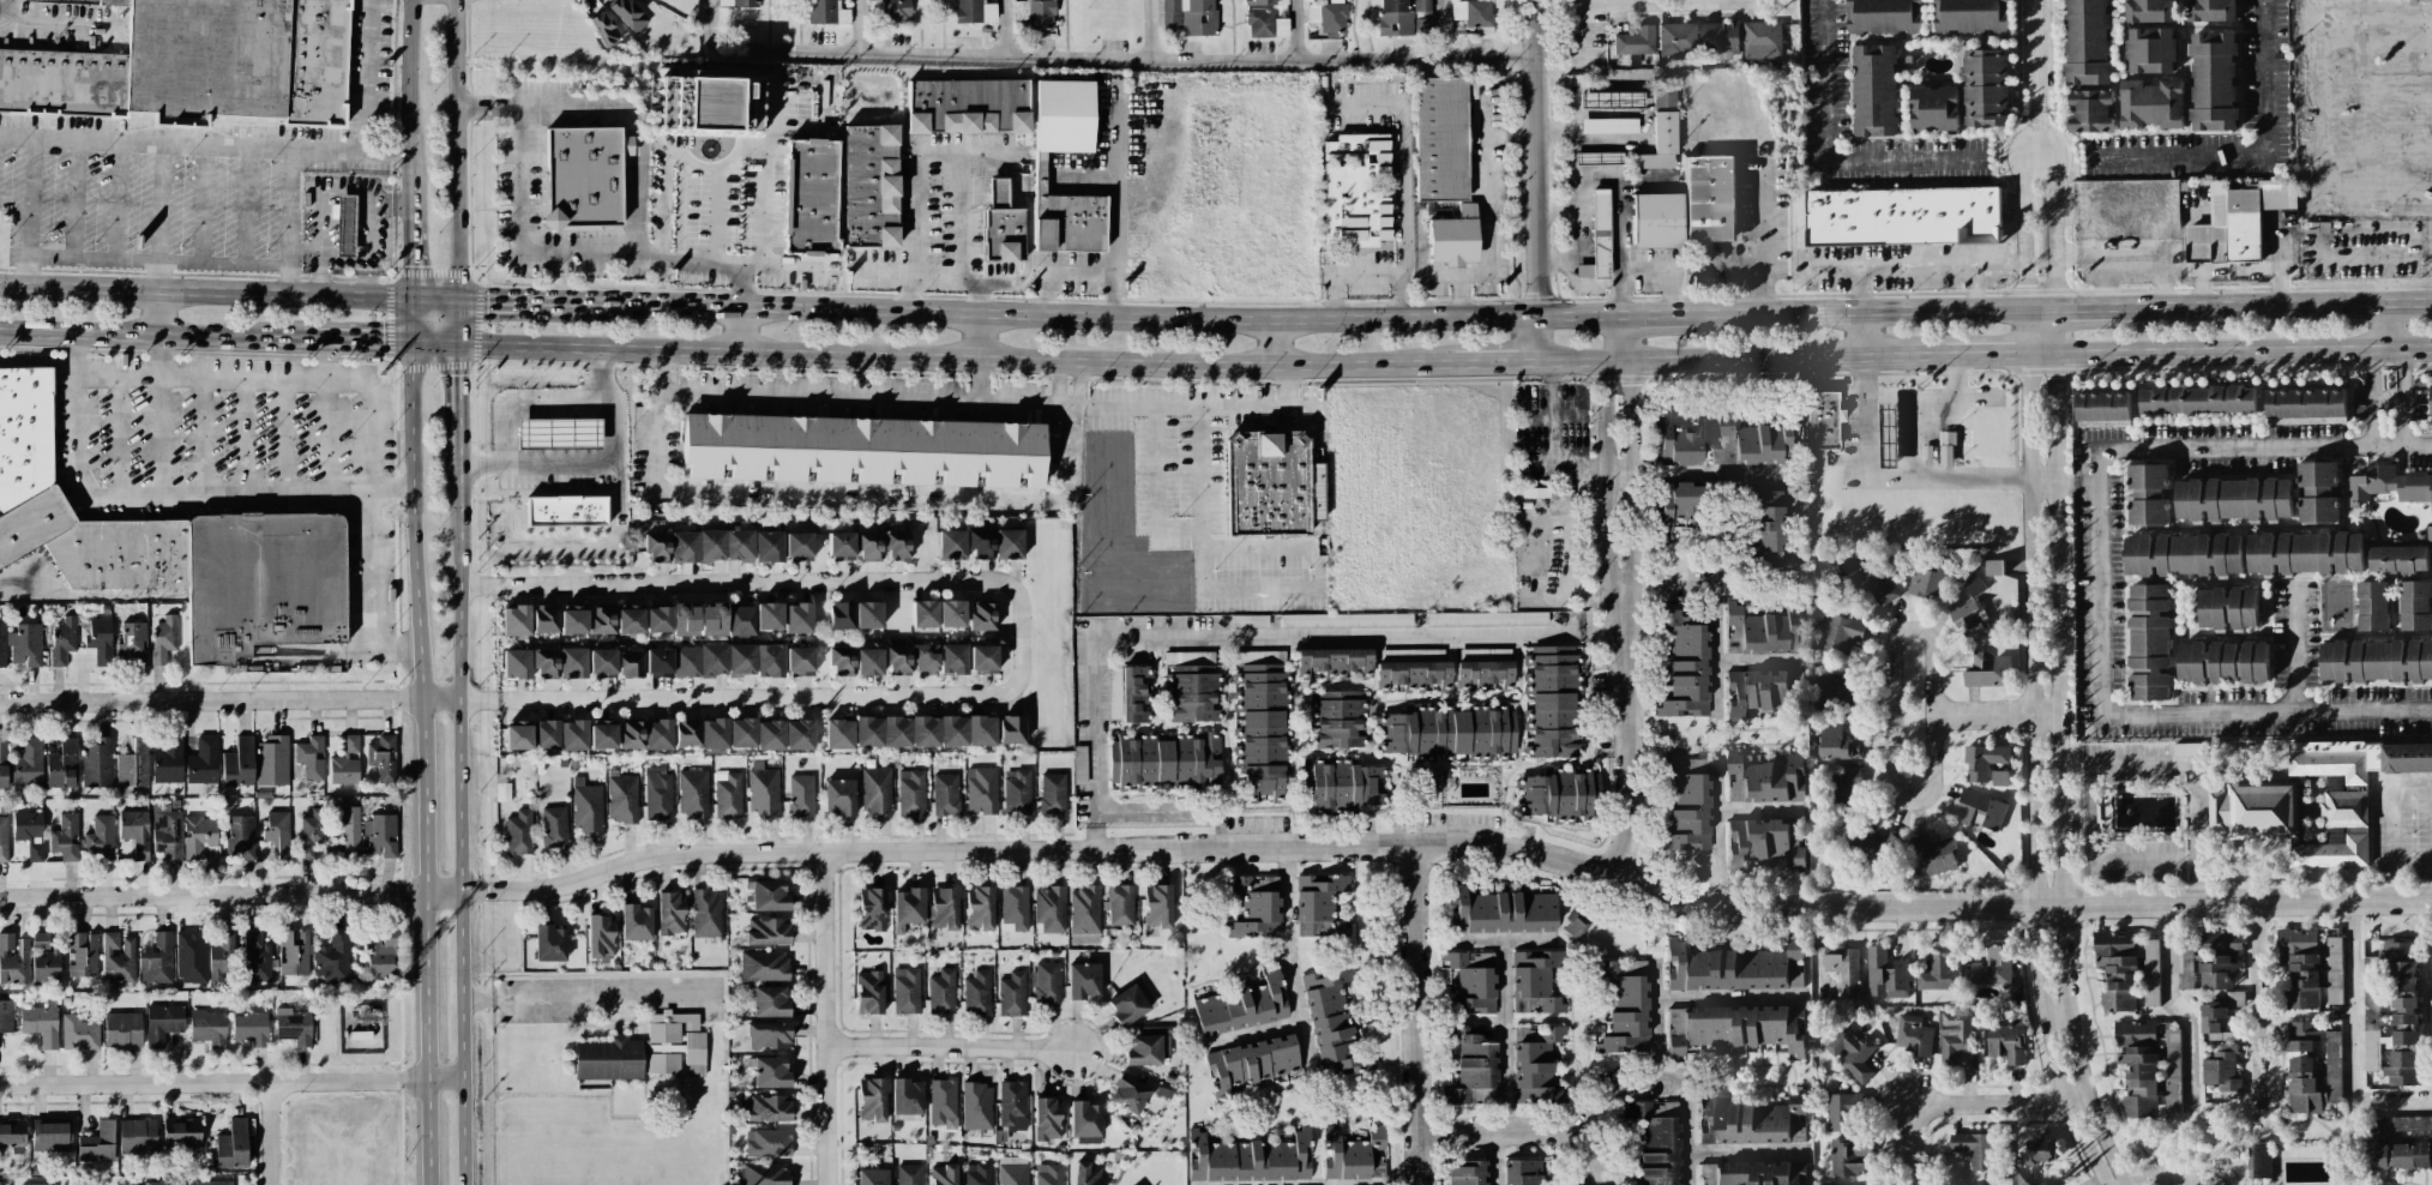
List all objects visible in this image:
building: (110, 2)
building: (1265, 2)
road: (1649, 2)
building: (738, 4)
building: (1421, 5)
building: (889, 10)
building: (2210, 10)
building: (2148, 11)
building: (826, 12)
building: (1036, 13)
building: (627, 14)
building: (1473, 14)
building: (1188, 16)
building: (1328, 16)
building: (1970, 16)
building: (1884, 17)
building: (1395, 18)
building: (1265, 24)
road: (60, 25)
road: (857, 25)
building: (1422, 26)
road: (1006, 28)
road: (1440, 28)
road: (1584, 28)
road: (1150, 29)
road: (1295, 30)
building: (1720, 37)
building: (1676, 38)
building: (1762, 40)
building: (1635, 41)
building: (2087, 43)
road: (765, 48)
building: (2150, 50)
road: (1197, 59)
building: (197, 65)
road: (2036, 72)
road: (365, 76)
building: (2214, 82)
building: (1986, 88)
building: (1874, 90)
road: (409, 94)
building: (710, 104)
road: (773, 104)
building: (2151, 104)
building: (968, 106)
building: (1934, 108)
building: (2090, 110)
building: (1608, 125)
building: (1661, 131)
building: (1439, 138)
road: (771, 142)
road: (203, 146)
road: (456, 149)
road: (2028, 152)
road: (2043, 152)
road: (921, 154)
road: (1403, 154)
road: (2251, 156)
road: (1831, 158)
road: (722, 161)
road: (640, 162)
building: (1040, 174)
parking lot: (191, 175)
building: (584, 176)
road: (1537, 180)
road: (1614, 185)
building: (871, 186)
road: (2312, 188)
building: (1356, 191)
road: (1114, 192)
building: (2094, 192)
building: (809, 197)
building: (1710, 198)
road: (73, 199)
building: (2144, 199)
road: (116, 201)
road: (203, 204)
road: (246, 206)
road: (290, 207)
road: (1554, 209)
road: (30, 212)
road: (1487, 215)
building: (1903, 216)
road: (161, 217)
building: (1656, 221)
building: (2237, 221)
building: (344, 225)
building: (1001, 225)
road: (517, 234)
road: (2021, 235)
road: (367, 237)
building: (1452, 237)
building: (1597, 237)
road: (1759, 237)
road: (323, 242)
road: (409, 242)
road: (1572, 252)
road: (1555, 258)
road: (158, 259)
road: (2133, 259)
road: (790, 265)
road: (1663, 272)
road: (1371, 273)
road: (934, 277)
road: (1037, 277)
road: (288, 279)
road: (2105, 283)
road: (228, 291)
road: (979, 294)
road: (1048, 295)
traffic signals: (411, 296)
traffic signals: (457, 297)
road: (518, 297)
road: (1115, 299)
road: (2276, 306)
road: (2088, 308)
road: (2039, 309)
road: (1860, 311)
road: (159, 313)
road: (1097, 313)
road: (1657, 313)
road: (411, 320)
road: (2055, 320)
road: (457, 321)
road: (2385, 326)
road: (739, 327)
road: (1862, 333)
road: (979, 335)
road: (150, 336)
road: (1277, 341)
road: (355, 343)
traffic signals: (411, 345)
road: (434, 345)
traffic signals: (458, 345)
road: (2228, 351)
road: (1983, 356)
road: (956, 357)
road: (1740, 359)
road: (1497, 360)
road: (37, 362)
road: (2370, 373)
road: (2402, 373)
road: (977, 380)
road: (369, 392)
road: (1946, 396)
road: (459, 397)
road: (862, 397)
building: (2431, 398)
building: (2197, 399)
road: (524, 403)
building: (2305, 405)
building: (2102, 407)
road: (1199, 408)
road: (159, 416)
road: (1904, 417)
road: (326, 419)
road: (1862, 419)
building: (1823, 420)
road: (2370, 426)
road: (2404, 426)
road: (118, 435)
building: (559, 435)
gas station: (559, 435)
road: (203, 437)
road: (243, 438)
road: (284, 438)
building: (1676, 443)
building: (1753, 443)
building: (867, 450)
road: (590, 465)
road: (1752, 475)
road: (1960, 480)
road: (2077, 482)
building: (2389, 486)
road: (391, 488)
building: (2317, 492)
building: (2148, 494)
road: (861, 495)
road: (148, 497)
building: (2233, 499)
building: (1676, 504)
building: (566, 513)
road: (1176, 525)
building: (1762, 527)
building: (2428, 535)
building: (995, 543)
building: (868, 545)
building: (896, 545)
building: (951, 545)
building: (698, 546)
building: (766, 546)
building: (797, 546)
building: (839, 546)
building: (171, 547)
road: (1250, 548)
building: (2304, 553)
building: (2181, 554)
building: (2397, 559)
building: (1993, 567)
road: (1667, 578)
road: (2101, 579)
building: (1930, 581)
road: (760, 583)
building: (1873, 583)
road: (1226, 588)
road: (82, 594)
road: (1623, 597)
building: (2372, 606)
building: (2415, 606)
building: (2226, 608)
building: (923, 614)
building: (951, 614)
building: (769, 615)
building: (854, 615)
building: (982, 616)
building: (544, 618)
building: (797, 618)
building: (1486, 618)
building: (572, 619)
building: (657, 619)
building: (1349, 619)
building: (1969, 619)
building: (602, 620)
building: (684, 620)
building: (712, 620)
building: (740, 620)
building: (1248, 620)
building: (514, 621)
building: (630, 621)
building: (1763, 631)
building: (1838, 634)
road: (1256, 637)
building: (163, 638)
building: (62, 639)
building: (100, 639)
building: (2149, 642)
building: (2, 643)
building: (25, 644)
building: (131, 644)
road: (2299, 656)
building: (981, 657)
building: (925, 658)
building: (952, 658)
building: (769, 660)
building: (897, 660)
building: (2376, 660)
building: (712, 661)
building: (799, 661)
building: (841, 661)
building: (868, 661)
road: (1757, 661)
building: (546, 662)
building: (571, 662)
building: (602, 662)
building: (658, 662)
building: (2222, 662)
building: (516, 663)
building: (628, 663)
building: (1334, 663)
building: (1686, 663)
road: (1717, 666)
building: (1483, 668)
building: (1413, 669)
building: (1988, 673)
building: (1191, 691)
building: (1762, 691)
building: (1134, 693)
building: (1835, 694)
road: (765, 697)
road: (228, 698)
building: (1552, 700)
road: (1997, 714)
road: (1891, 715)
building: (1336, 720)
building: (1011, 729)
building: (1260, 729)
building: (925, 730)
building: (686, 732)
building: (1451, 733)
building: (644, 734)
building: (742, 734)
building: (799, 734)
building: (838, 734)
building: (531, 735)
building: (572, 735)
building: (601, 735)
road: (1759, 736)
building: (1837, 742)
road: (2030, 754)
building: (311, 757)
building: (381, 757)
building: (168, 759)
road: (2197, 759)
building: (272, 760)
building: (1163, 760)
building: (1983, 760)
building: (203, 762)
building: (2, 763)
building: (28, 763)
building: (97, 763)
building: (239, 763)
building: (345, 763)
building: (62, 764)
building: (133, 764)
road: (422, 764)
building: (1079, 766)
building: (1764, 778)
building: (1999, 780)
building: (1341, 784)
building: (763, 789)
building: (981, 789)
building: (875, 790)
building: (1847, 790)
building: (1017, 792)
building: (2348, 792)
building: (657, 793)
building: (693, 793)
building: (911, 793)
building: (1052, 793)
building: (727, 794)
building: (945, 794)
building: (800, 795)
building: (1561, 795)
building: (839, 796)
building: (622, 798)
building: (1687, 804)
building: (586, 806)
building: (1981, 810)
road: (1138, 811)
road: (1760, 811)
building: (2255, 812)
road: (458, 817)
road: (2390, 823)
building: (348, 825)
building: (554, 826)
building: (134, 831)
building: (167, 831)
building: (277, 832)
building: (312, 832)
building: (519, 832)
building: (29, 834)
building: (198, 835)
building: (64, 836)
building: (239, 836)
building: (380, 836)
road: (2060, 837)
building: (98, 838)
building: (2, 840)
building: (1764, 844)
building: (1873, 844)
building: (1933, 854)
road: (775, 855)
road: (2199, 883)
road: (229, 894)
building: (769, 895)
building: (1119, 904)
building: (1157, 906)
building: (1319, 906)
building: (1256, 907)
building: (908, 908)
building: (943, 908)
building: (980, 908)
building: (1013, 908)
building: (1049, 908)
road: (1758, 908)
building: (872, 909)
building: (1084, 909)
building: (1500, 912)
building: (670, 913)
building: (706, 913)
building: (636, 922)
building: (1576, 927)
building: (767, 931)
building: (600, 936)
building: (549, 943)
building: (294, 952)
building: (381, 952)
building: (82, 955)
building: (221, 956)
building: (118, 957)
building: (191, 957)
building: (255, 957)
building: (333, 958)
building: (2209, 958)
building: (13, 960)
building: (44, 960)
building: (156, 960)
road: (1287, 960)
building: (764, 966)
building: (2299, 966)
building: (1992, 967)
building: (1733, 968)
building: (1843, 969)
building: (2117, 969)
building: (1938, 973)
building: (2150, 973)
building: (1885, 974)
building: (1083, 981)
building: (1471, 981)
building: (1534, 981)
building: (2402, 981)
building: (1046, 982)
road: (1651, 989)
building: (907, 991)
building: (868, 992)
building: (941, 992)
building: (976, 993)
building: (1012, 994)
road: (1726, 998)
road: (589, 1001)
building: (770, 1001)
building: (1127, 1005)
building: (1242, 1006)
building: (1625, 1006)
road: (1504, 1010)
road: (2184, 1010)
road: (2271, 1011)
building: (2217, 1012)
road: (1416, 1013)
building: (5, 1016)
road: (824, 1019)
building: (162, 1023)
building: (1334, 1023)
building: (41, 1024)
building: (293, 1025)
building: (207, 1027)
building: (251, 1028)
building: (1733, 1028)
building: (122, 1030)
building: (79, 1033)
building: (2135, 1033)
road: (1256, 1034)
building: (767, 1035)
building: (1913, 1035)
building: (1955, 1035)
building: (2386, 1036)
building: (2006, 1041)
road: (2358, 1041)
building: (1148, 1046)
building: (644, 1051)
road: (949, 1051)
building: (1852, 1053)
building: (1252, 1063)
building: (1535, 1064)
building: (2313, 1065)
building: (1473, 1067)
building: (2221, 1069)
building: (770, 1072)
building: (2151, 1078)
road: (1673, 1081)
road: (230, 1083)
building: (1128, 1094)
building: (907, 1096)
building: (871, 1100)
road: (1963, 1102)
building: (943, 1103)
building: (1012, 1105)
building: (977, 1106)
building: (766, 1107)
building: (1842, 1112)
building: (1047, 1118)
building: (1751, 1120)
building: (1085, 1123)
road: (1525, 1131)
road: (1687, 1132)
road: (270, 1133)
building: (52, 1135)
building: (137, 1135)
building: (182, 1135)
building: (12, 1136)
building: (1656, 1141)
building: (2400, 1141)
building: (97, 1143)
building: (767, 1143)
building: (231, 1145)
road: (1740, 1150)
building: (1979, 1150)
building: (1353, 1155)
building: (1847, 1157)
building: (1248, 1159)
building: (2031, 1160)
building: (2258, 1161)
building: (1013, 1171)
building: (1523, 1172)
building: (1468, 1173)
building: (1753, 1173)
building: (761, 1174)
building: (908, 1174)
building: (943, 1174)
building: (977, 1174)
building: (1048, 1174)
building: (1085, 1174)
building: (872, 1177)
road: (2189, 1177)
road: (2143, 1180)
road: (2156, 1181)
building: (213, 1183)
building: (36, 1184)
road: (1397, 1184)
building: (1991, 1184)

